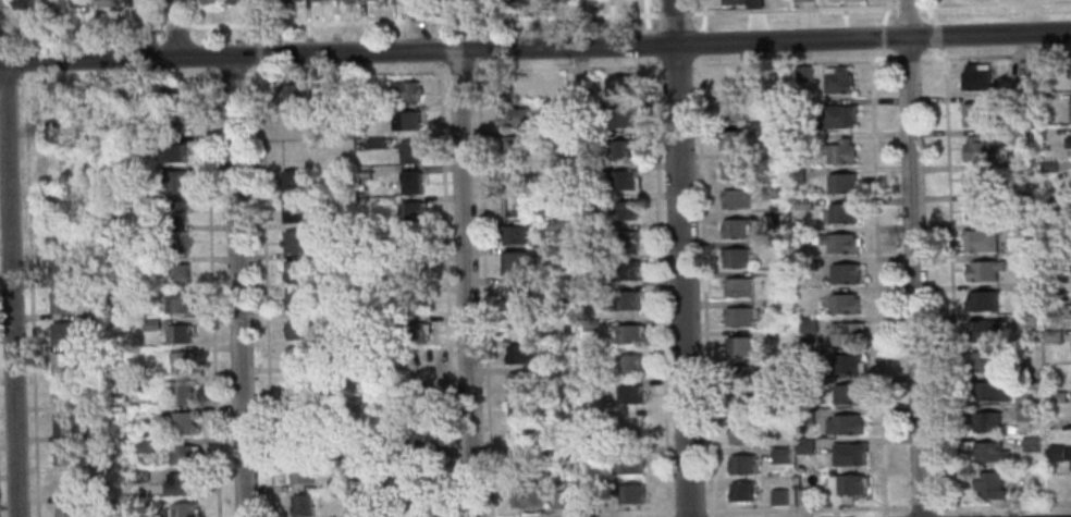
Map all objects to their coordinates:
building: (293, 0)
building: (317, 0)
building: (484, 0)
building: (803, 0)
building: (837, 0)
park: (949, 0)
building: (210, 1)
building: (237, 1)
building: (263, 1)
building: (350, 1)
road: (995, 1)
building: (108, 2)
building: (137, 2)
building: (746, 2)
road: (962, 2)
building: (2, 3)
building: (23, 3)
building: (53, 3)
building: (79, 3)
road: (995, 3)
road: (907, 5)
road: (792, 9)
road: (930, 11)
road: (886, 12)
road: (675, 13)
road: (703, 14)
road: (647, 15)
road: (543, 16)
road: (397, 17)
road: (436, 17)
road: (417, 19)
road: (158, 21)
road: (202, 24)
road: (416, 25)
road: (175, 28)
road: (937, 34)
road: (878, 36)
road: (195, 39)
road: (700, 41)
road: (651, 42)
road: (397, 45)
road: (439, 48)
road: (535, 48)
road: (159, 50)
road: (995, 53)
road: (908, 57)
road: (795, 60)
road: (677, 63)
road: (24, 65)
building: (1043, 65)
road: (567, 66)
building: (1023, 69)
road: (461, 70)
road: (347, 72)
building: (803, 73)
road: (231, 75)
building: (976, 77)
road: (116, 78)
road: (8, 81)
building: (729, 81)
building: (838, 81)
building: (618, 85)
building: (512, 88)
building: (125, 90)
building: (406, 91)
building: (291, 93)
building: (1042, 96)
building: (171, 97)
building: (365, 97)
building: (54, 99)
building: (770, 103)
building: (552, 104)
building: (1070, 107)
building: (733, 111)
building: (368, 113)
building: (977, 114)
building: (840, 115)
building: (514, 116)
building: (618, 119)
building: (293, 120)
building: (408, 121)
building: (172, 123)
building: (56, 132)
building: (549, 136)
building: (1022, 138)
building: (580, 140)
building: (731, 140)
building: (1068, 141)
building: (376, 143)
building: (800, 144)
building: (510, 147)
building: (621, 149)
building: (978, 149)
building: (839, 151)
building: (173, 152)
building: (410, 152)
building: (59, 165)
building: (1049, 165)
building: (735, 170)
building: (359, 173)
building: (582, 173)
building: (795, 176)
building: (513, 177)
building: (620, 181)
building: (981, 181)
building: (175, 182)
building: (294, 182)
building: (411, 183)
building: (841, 184)
building: (770, 190)
building: (736, 199)
building: (57, 200)
building: (802, 204)
building: (517, 207)
building: (623, 210)
building: (981, 210)
building: (293, 211)
building: (410, 211)
building: (175, 212)
building: (841, 212)
building: (773, 220)
building: (554, 224)
building: (735, 229)
building: (1026, 229)
building: (801, 233)
building: (58, 234)
building: (379, 234)
building: (516, 235)
building: (624, 241)
building: (981, 241)
building: (99, 242)
building: (176, 242)
building: (293, 242)
building: (409, 243)
building: (840, 243)
building: (1032, 246)
building: (334, 248)
building: (554, 251)
road: (680, 258)
building: (735, 258)
road: (912, 258)
building: (515, 263)
building: (805, 264)
building: (59, 268)
building: (625, 270)
building: (294, 271)
building: (983, 271)
building: (176, 273)
building: (414, 273)
building: (844, 273)
building: (1043, 276)
building: (90, 279)
road: (951, 279)
road: (877, 280)
road: (465, 283)
road: (661, 285)
road: (237, 286)
road: (704, 286)
building: (738, 286)
road: (9, 290)
road: (446, 290)
building: (1027, 292)
road: (30, 293)
building: (590, 293)
building: (146, 294)
building: (515, 294)
road: (266, 295)
road: (211, 297)
building: (298, 300)
building: (626, 300)
building: (60, 301)
building: (982, 301)
building: (177, 304)
building: (415, 304)
building: (842, 304)
building: (1050, 304)
building: (739, 317)
building: (1027, 322)
building: (516, 323)
building: (150, 324)
building: (590, 324)
building: (807, 325)
building: (300, 330)
building: (985, 331)
building: (61, 333)
building: (178, 333)
building: (415, 333)
building: (628, 333)
building: (846, 334)
building: (1052, 336)
building: (93, 343)
building: (738, 345)
building: (521, 354)
building: (301, 356)
building: (807, 357)
building: (986, 361)
building: (182, 362)
building: (62, 364)
building: (335, 364)
building: (628, 364)
building: (847, 364)
building: (740, 374)
building: (522, 382)
building: (1029, 384)
building: (297, 385)
building: (803, 387)
building: (987, 392)
building: (62, 393)
building: (182, 393)
building: (629, 394)
building: (776, 394)
building: (848, 394)
building: (1057, 397)
building: (94, 403)
building: (741, 405)
building: (519, 410)
building: (1024, 414)
building: (298, 415)
building: (805, 415)
building: (396, 421)
building: (986, 421)
building: (183, 422)
building: (64, 424)
building: (776, 424)
building: (845, 424)
building: (96, 433)
building: (742, 434)
building: (520, 441)
building: (1031, 443)
building: (304, 444)
building: (419, 445)
building: (144, 446)
building: (808, 448)
building: (989, 453)
building: (1055, 453)
building: (64, 454)
building: (849, 454)
building: (182, 455)
building: (780, 455)
building: (561, 458)
building: (628, 464)
building: (741, 465)
building: (525, 469)
building: (418, 473)
building: (303, 475)
building: (139, 476)
building: (183, 484)
building: (336, 484)
building: (850, 484)
building: (989, 484)
building: (742, 491)
building: (630, 493)
building: (778, 496)
building: (526, 497)
building: (803, 497)
building: (561, 500)
building: (416, 503)
building: (301, 505)
road: (1002, 505)
road: (807, 506)
road: (922, 506)
building: (65, 509)
building: (183, 509)
road: (595, 513)
building: (112, 514)
road: (885, 515)
road: (959, 515)

